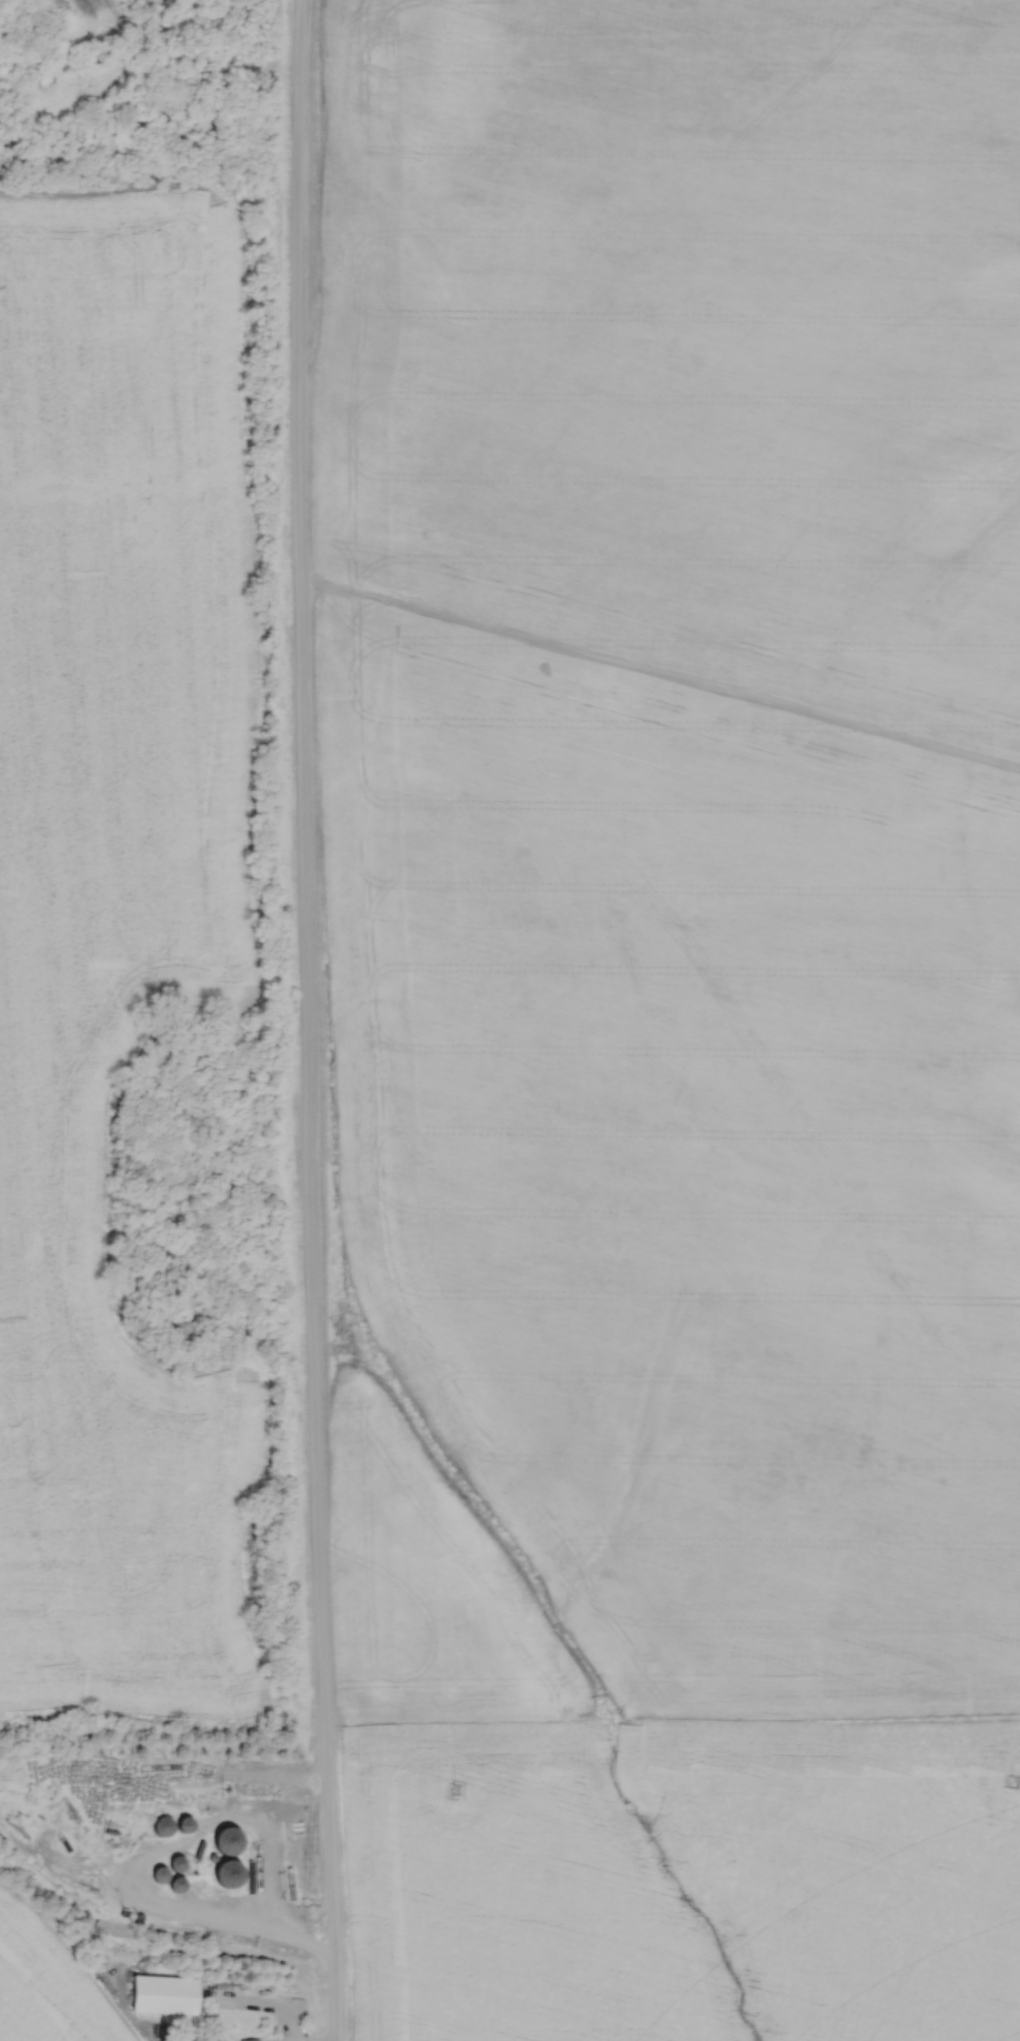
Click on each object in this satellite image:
building: (2, 36)
road: (305, 1020)
power tower: (1008, 1779)
power tower: (450, 1788)
power tower: (217, 1791)
building: (181, 1822)
building: (157, 1823)
building: (224, 1839)
building: (174, 1862)
building: (225, 1871)
building: (157, 1873)
building: (175, 1882)
road: (236, 1930)
building: (161, 1994)
building: (247, 2039)

